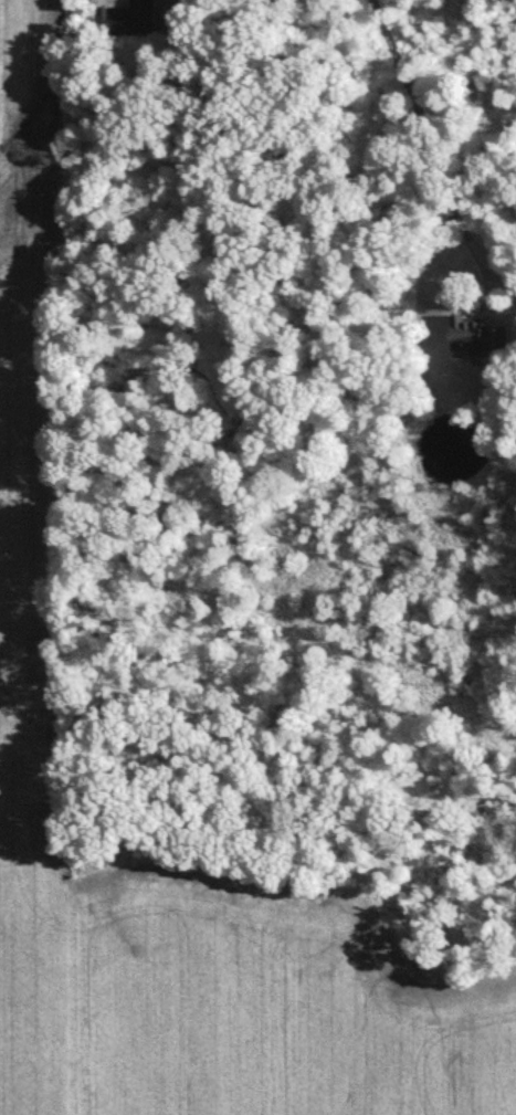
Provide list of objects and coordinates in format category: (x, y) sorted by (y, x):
building: (137, 23)
road: (428, 159)
building: (481, 337)

